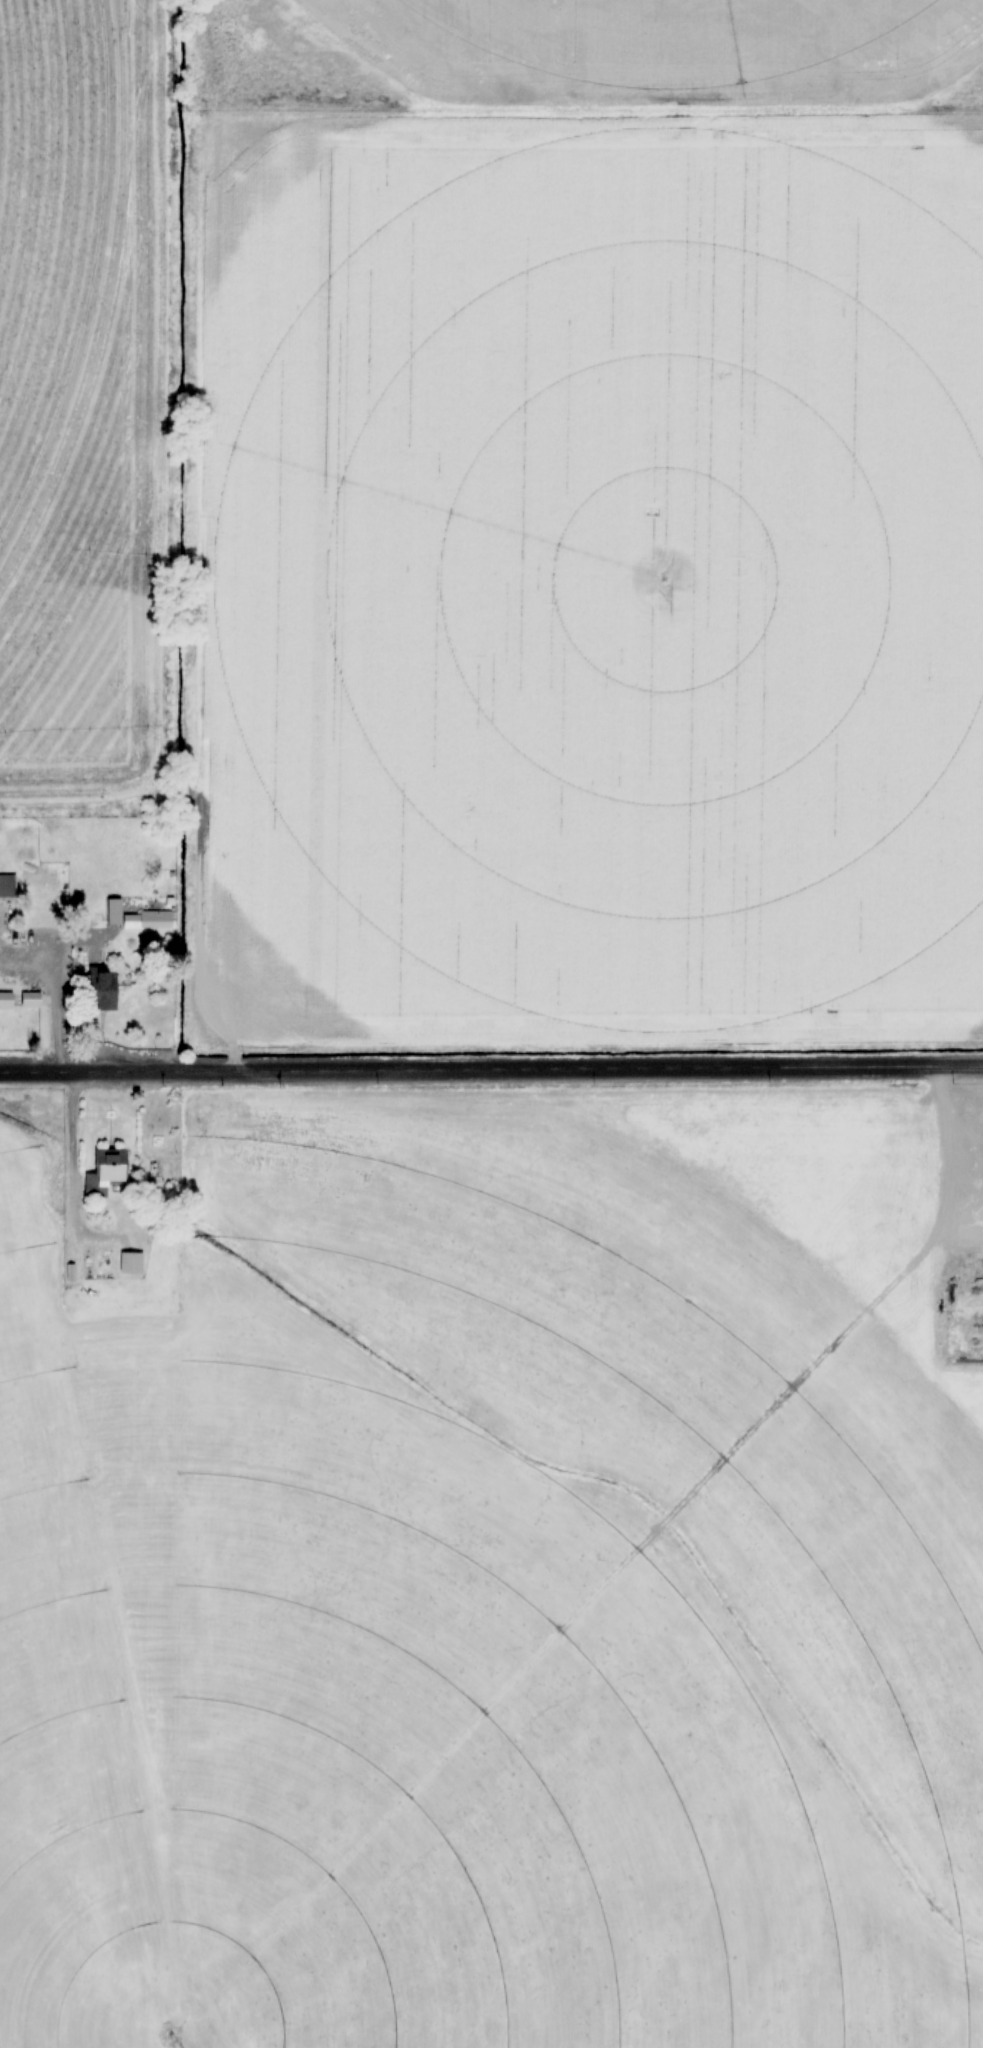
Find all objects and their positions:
crop: (491, 534)
building: (7, 885)
building: (155, 919)
building: (105, 991)
building: (30, 999)
building: (6, 1000)
road: (491, 1068)
building: (106, 1173)
building: (131, 1263)

